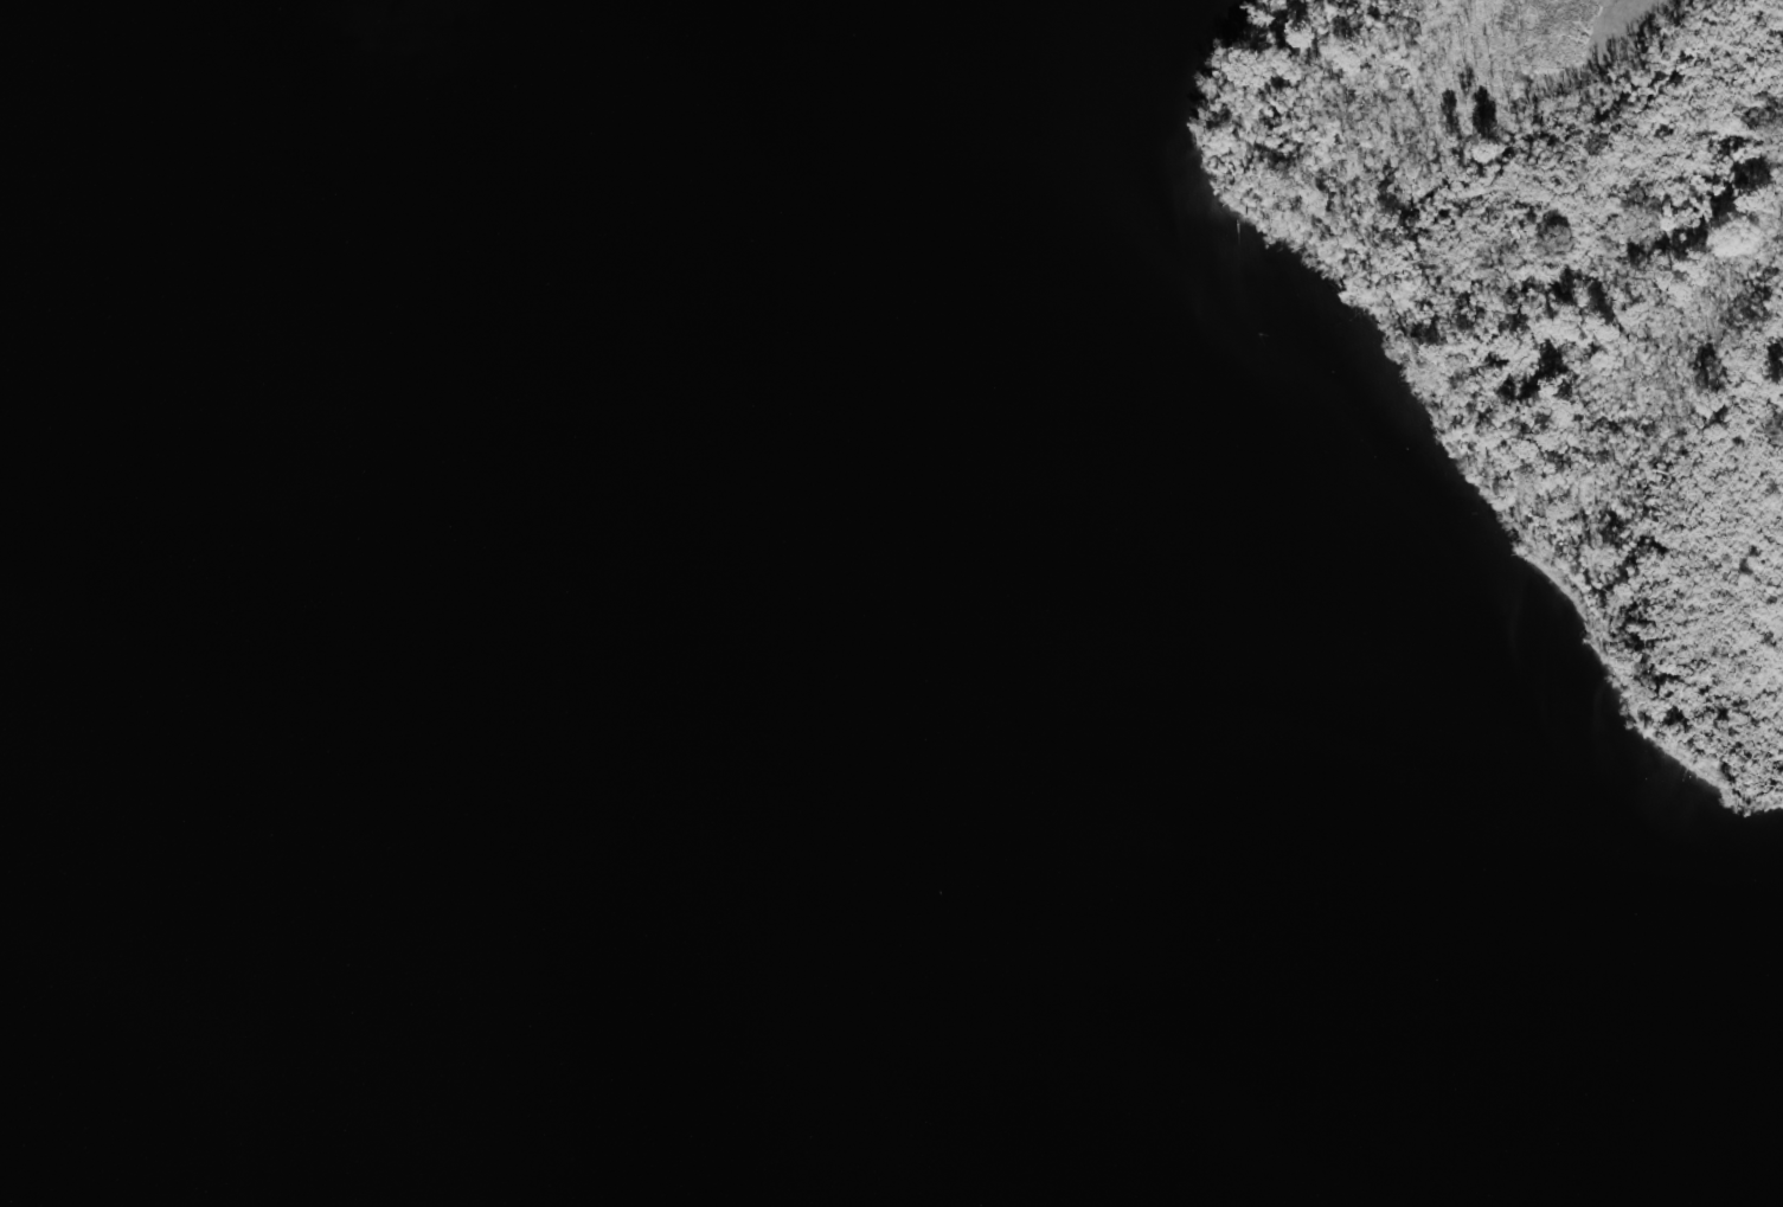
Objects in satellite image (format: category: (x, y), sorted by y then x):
river: (723, 683)

